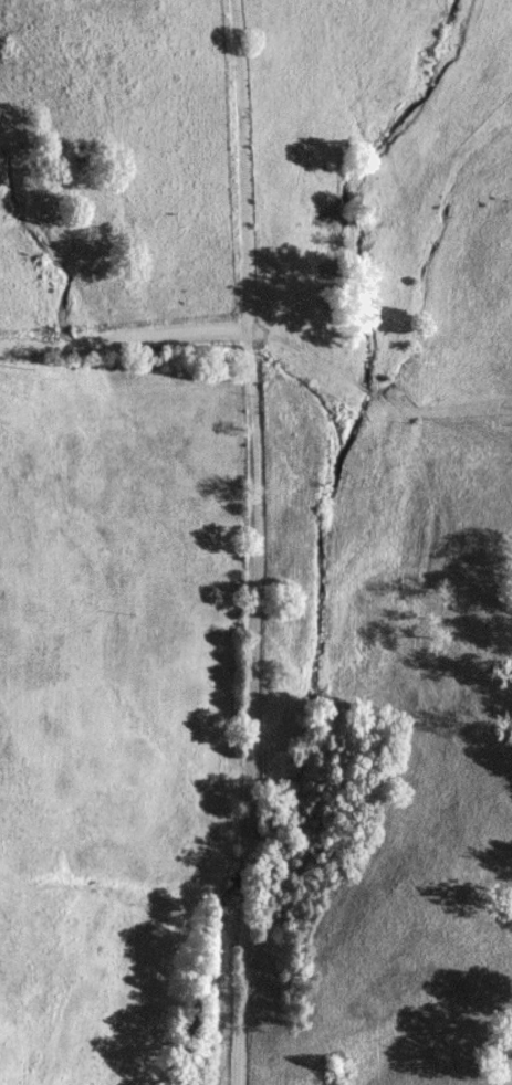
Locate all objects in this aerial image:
road: (103, 338)
road: (353, 423)
road: (206, 541)

